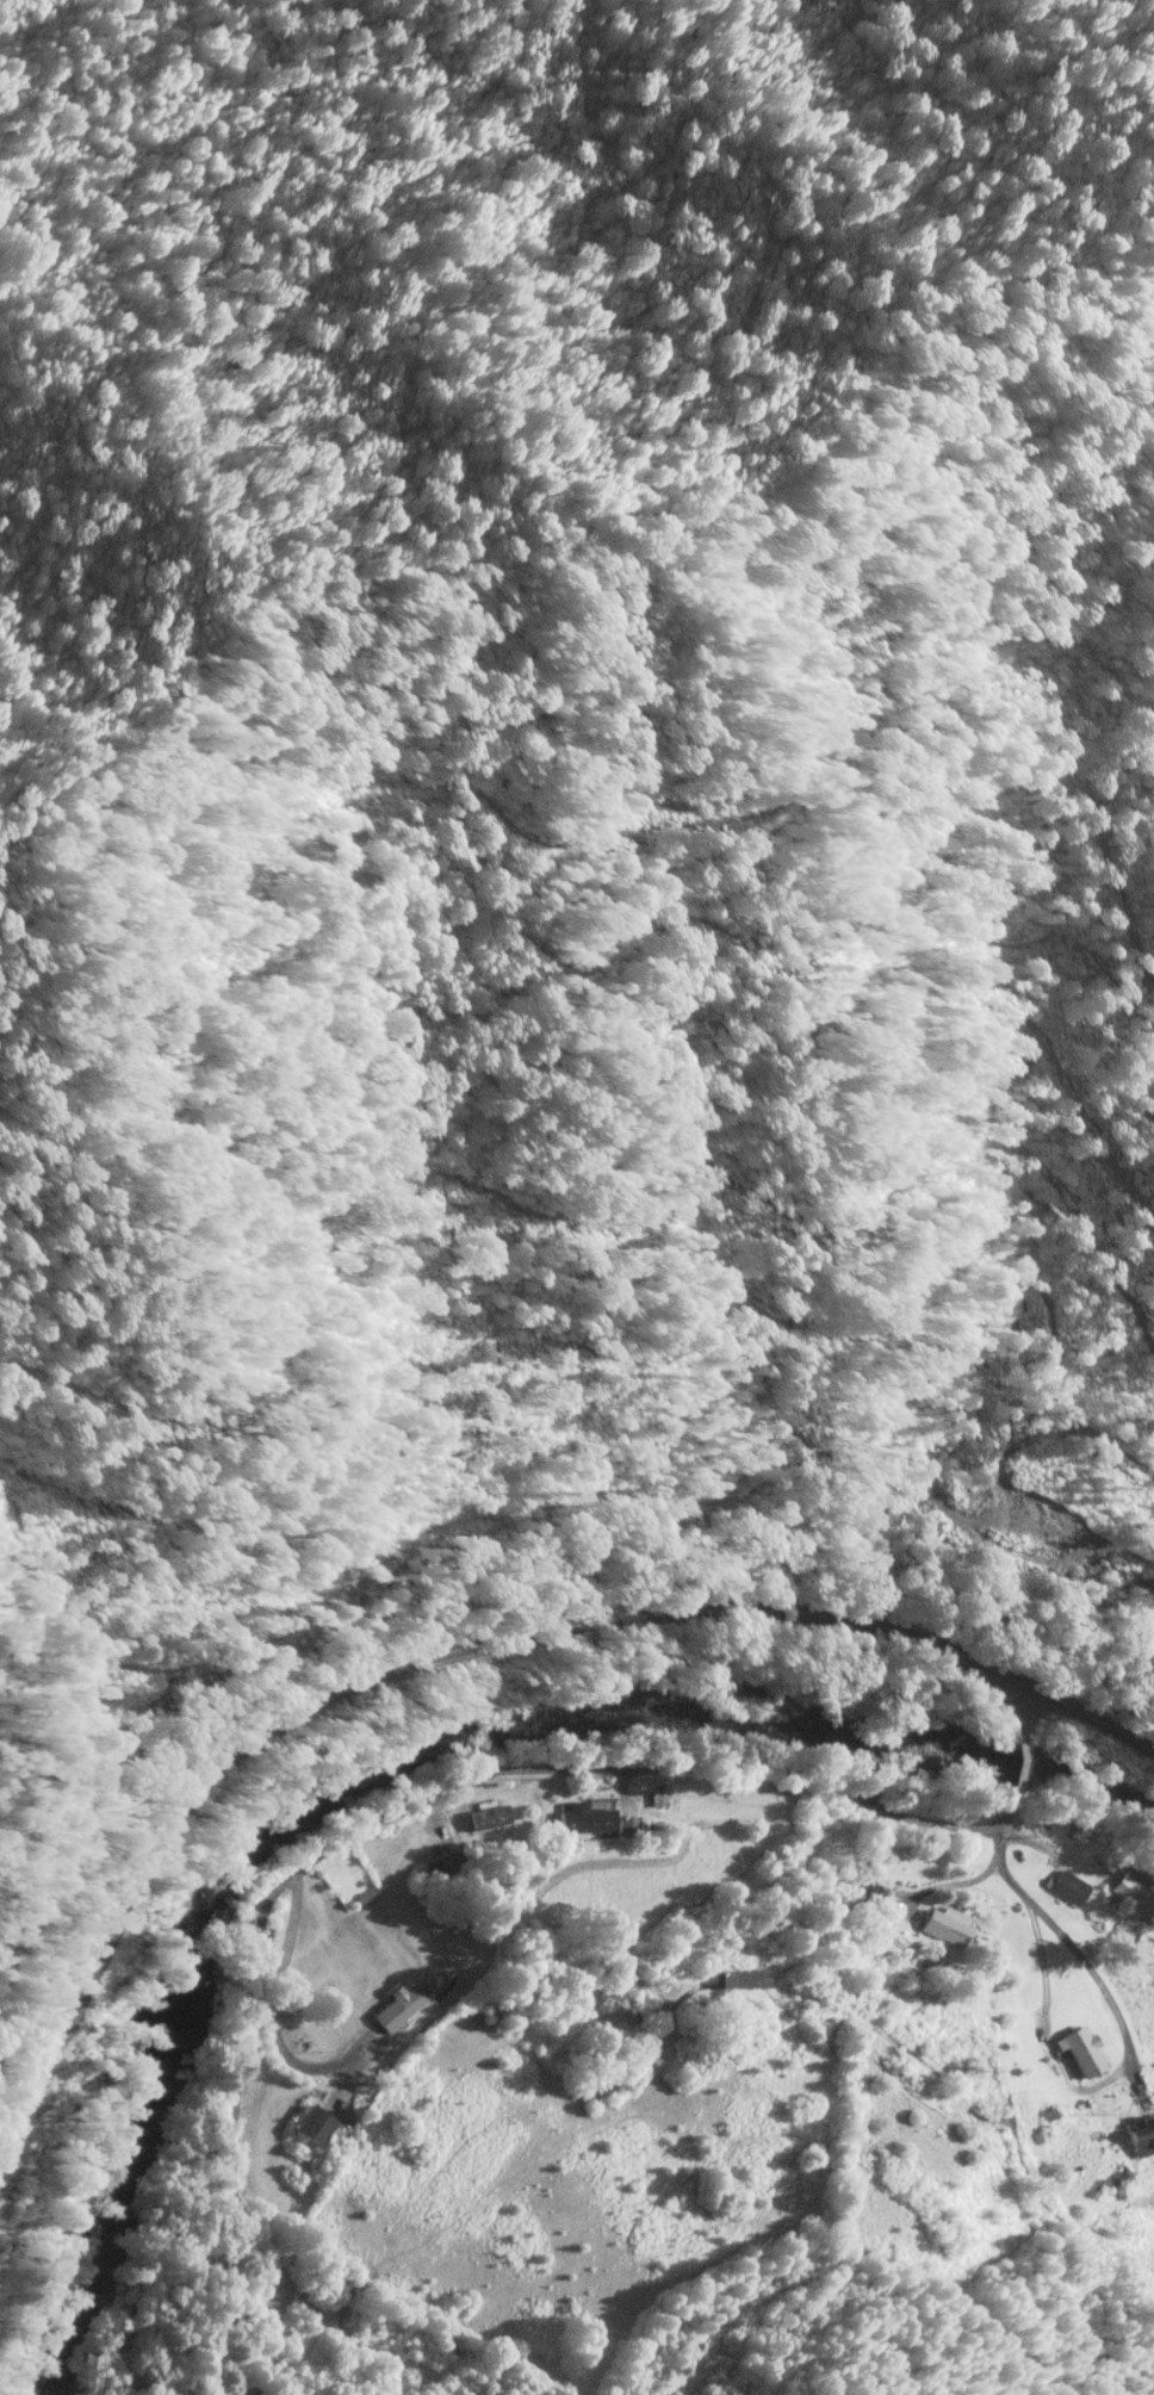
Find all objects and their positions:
road: (470, 1644)
road: (1023, 1711)
river: (409, 1757)
road: (1016, 1770)
road: (389, 1808)
building: (747, 1811)
building: (489, 1817)
building: (589, 1818)
building: (637, 1824)
building: (1133, 1894)
building: (948, 1925)
building: (742, 1980)
building: (399, 2008)
building: (1080, 2053)
building: (314, 2127)
building: (1141, 2135)

